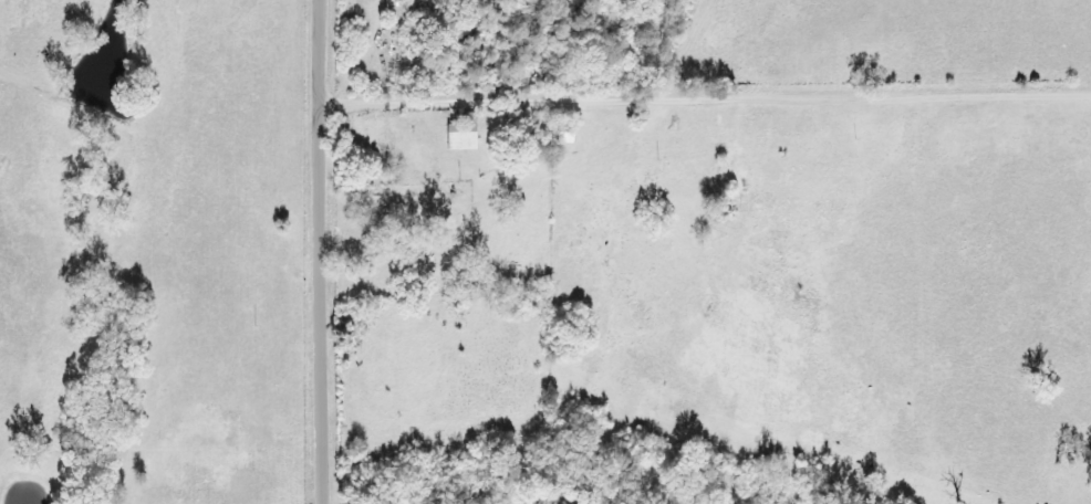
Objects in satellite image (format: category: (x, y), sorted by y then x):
road: (702, 96)
building: (560, 134)
building: (454, 136)
road: (314, 251)

